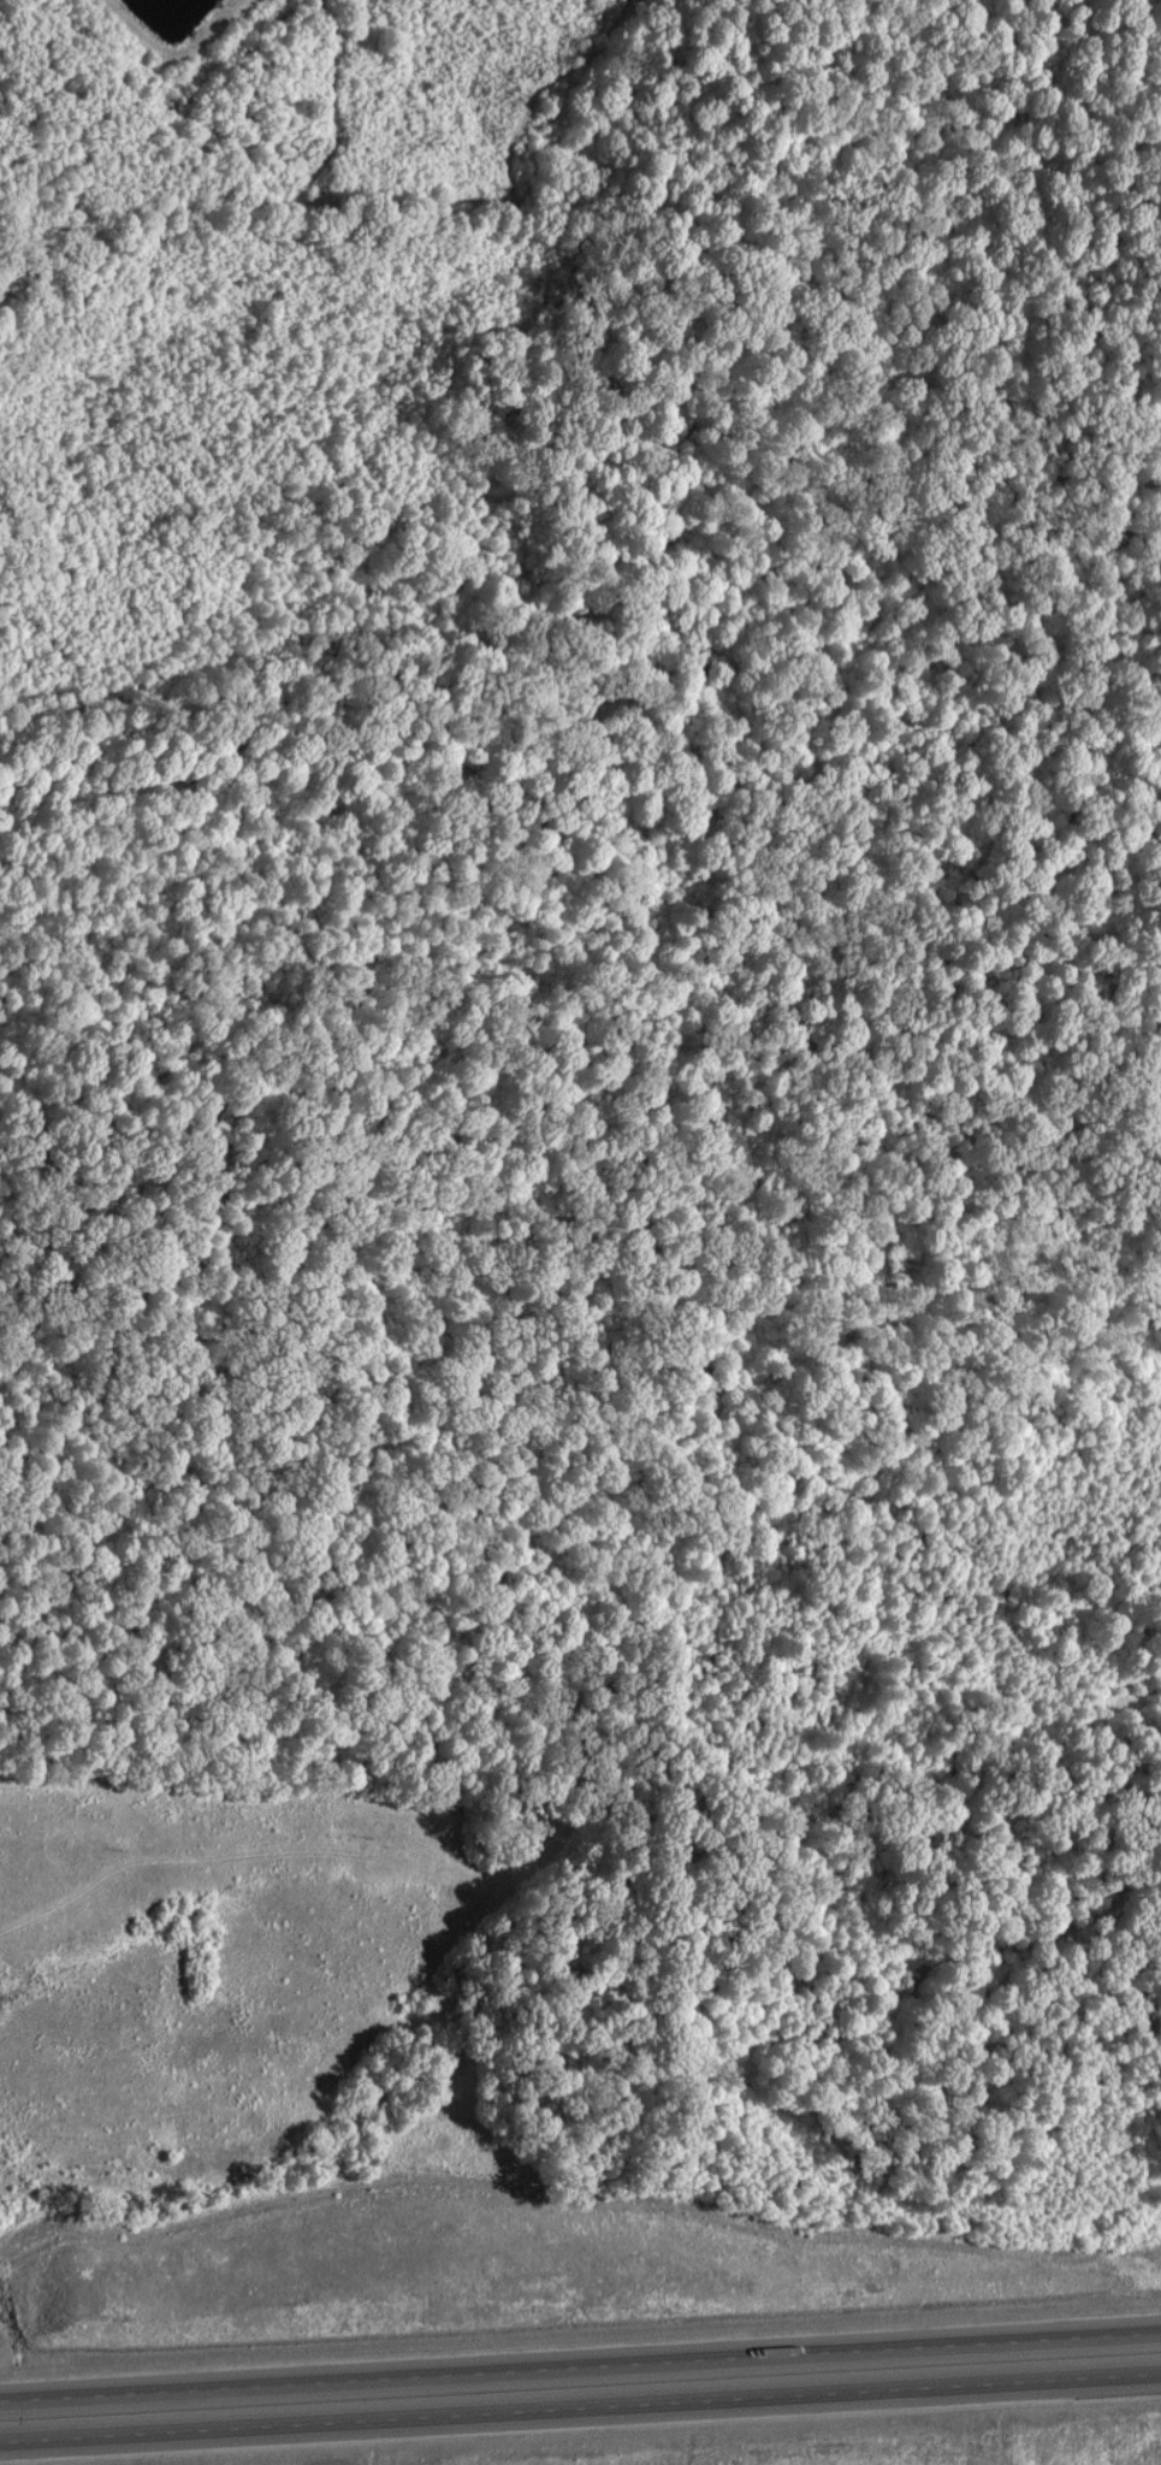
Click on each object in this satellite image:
building: (250, 2287)
road: (580, 2364)
road: (580, 2406)

